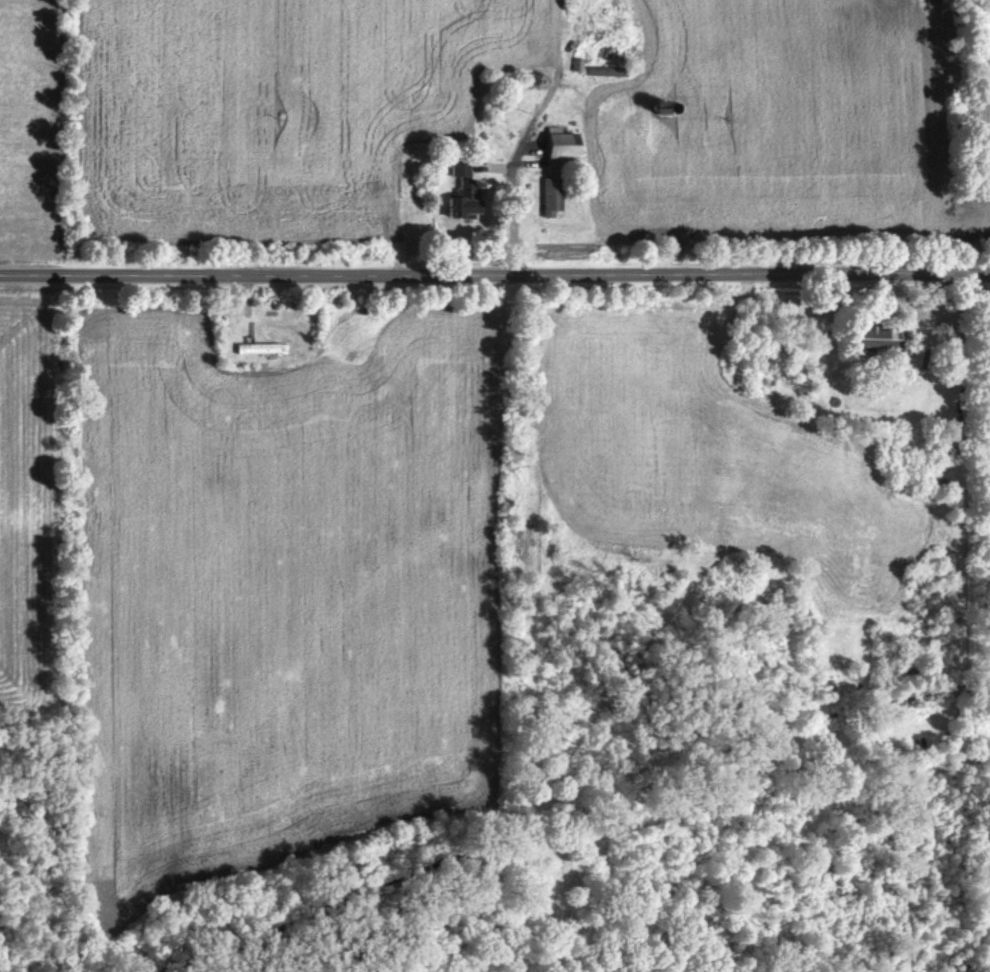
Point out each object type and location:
building: (576, 66)
building: (605, 72)
building: (556, 150)
building: (458, 191)
building: (548, 198)
road: (495, 269)
building: (872, 339)
building: (258, 350)

